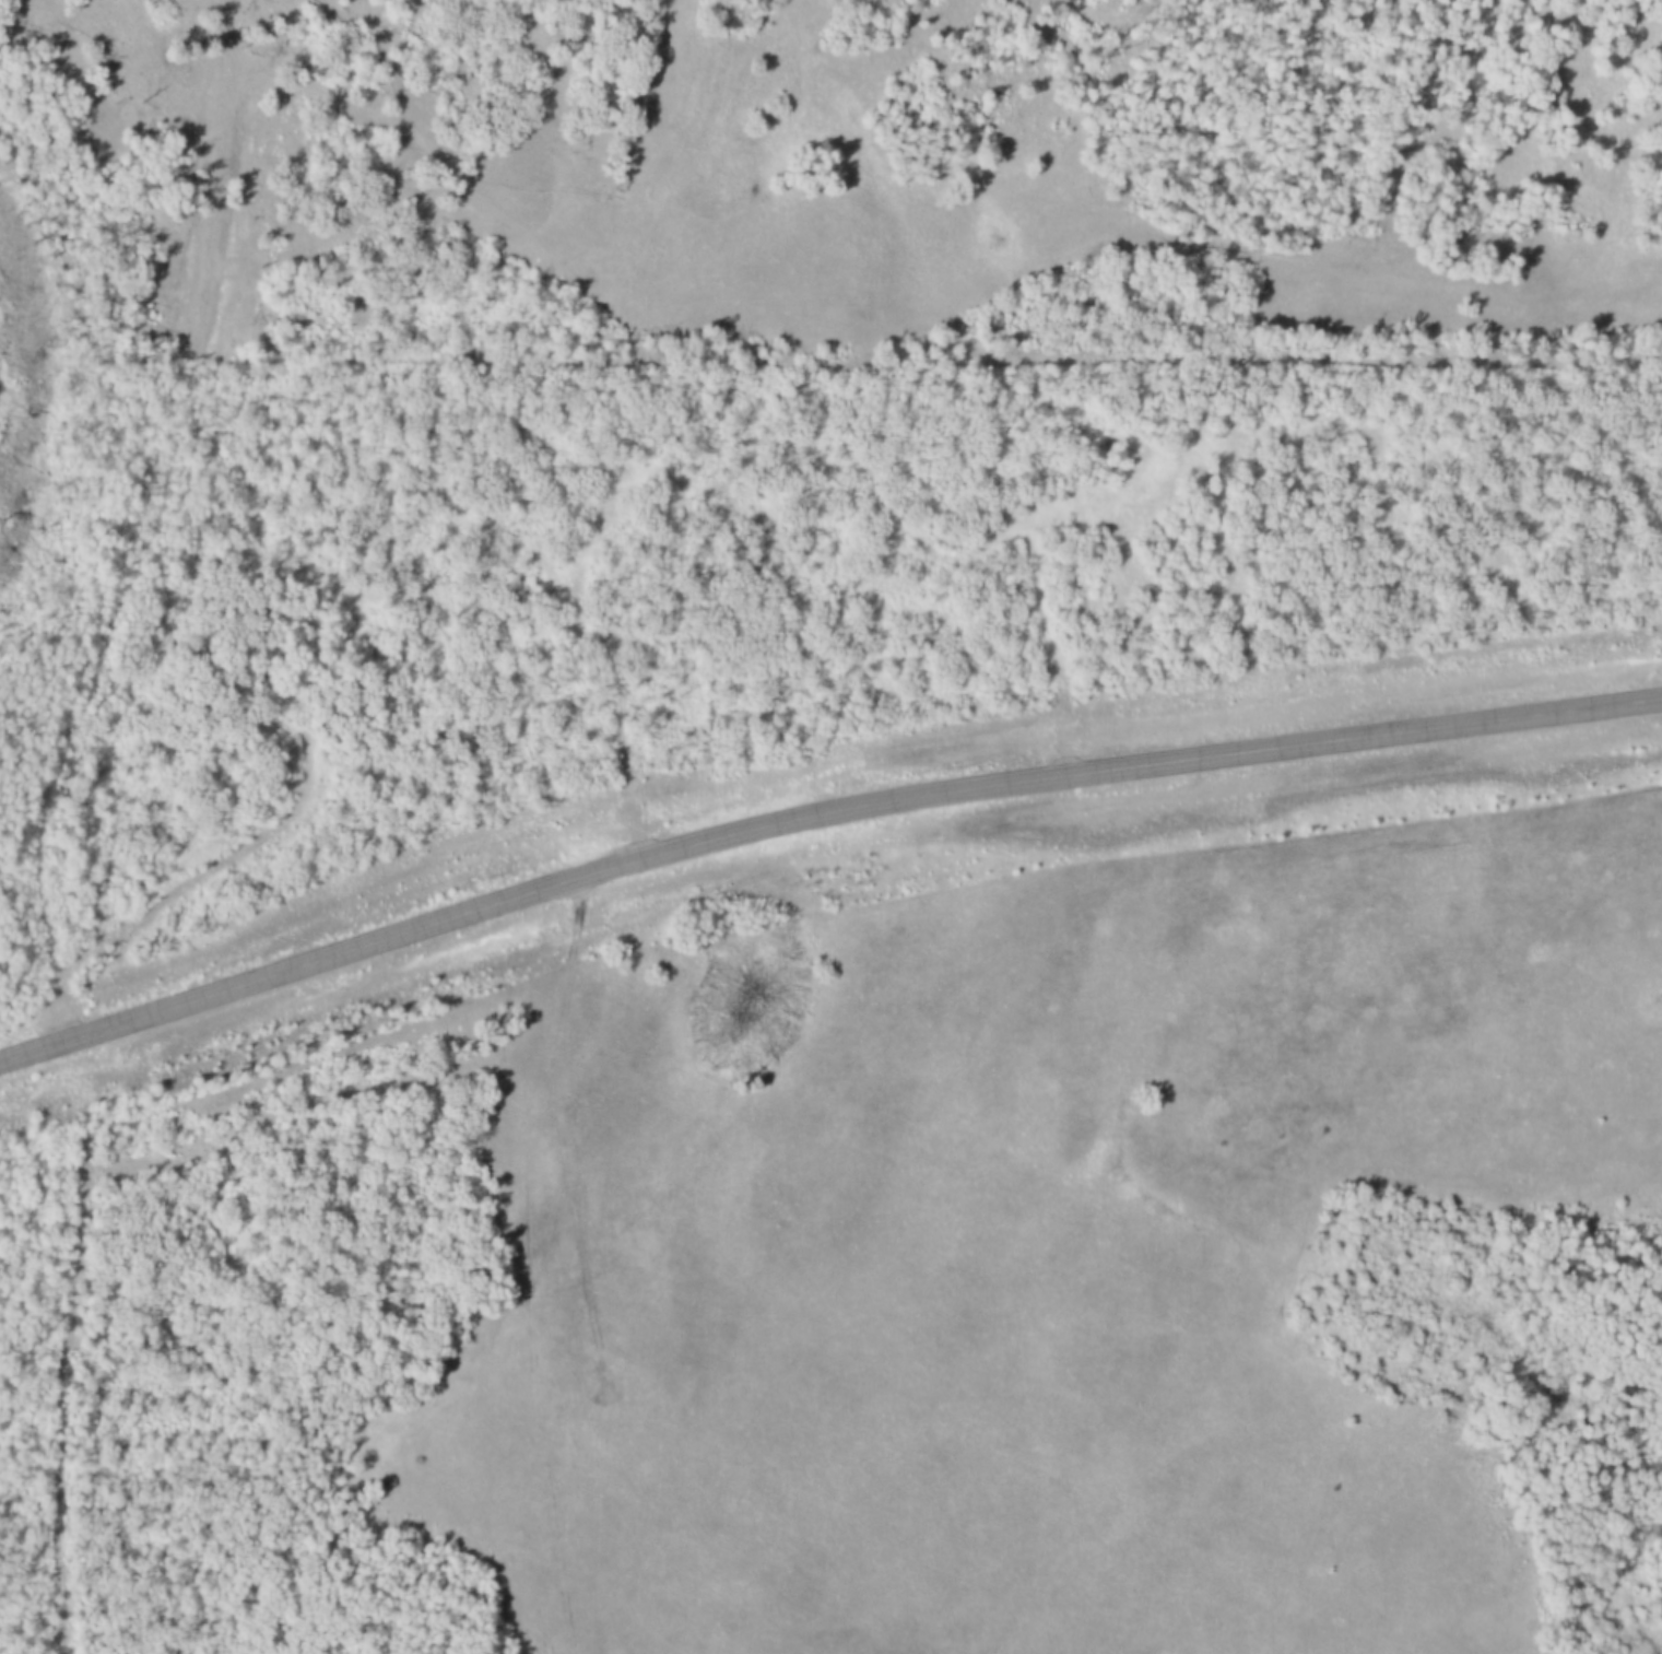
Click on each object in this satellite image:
road: (157, 530)
road: (816, 816)

